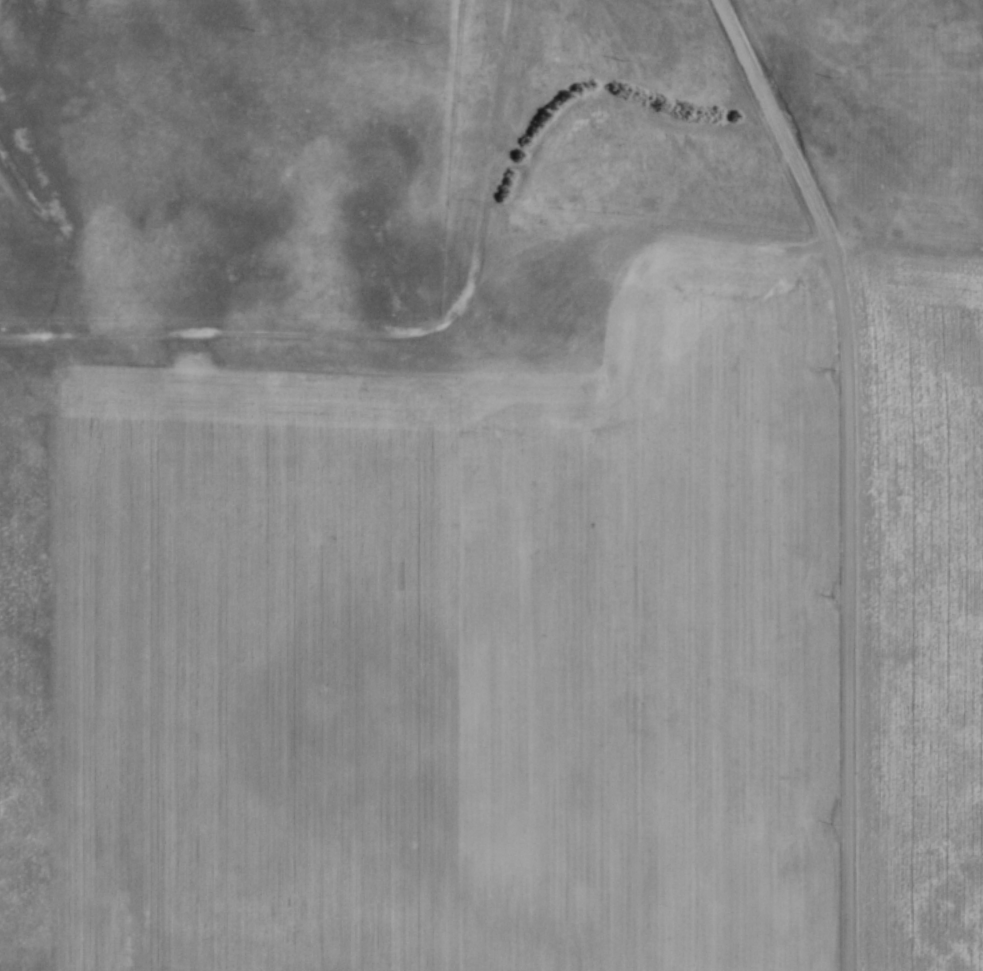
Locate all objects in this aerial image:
road: (847, 472)

